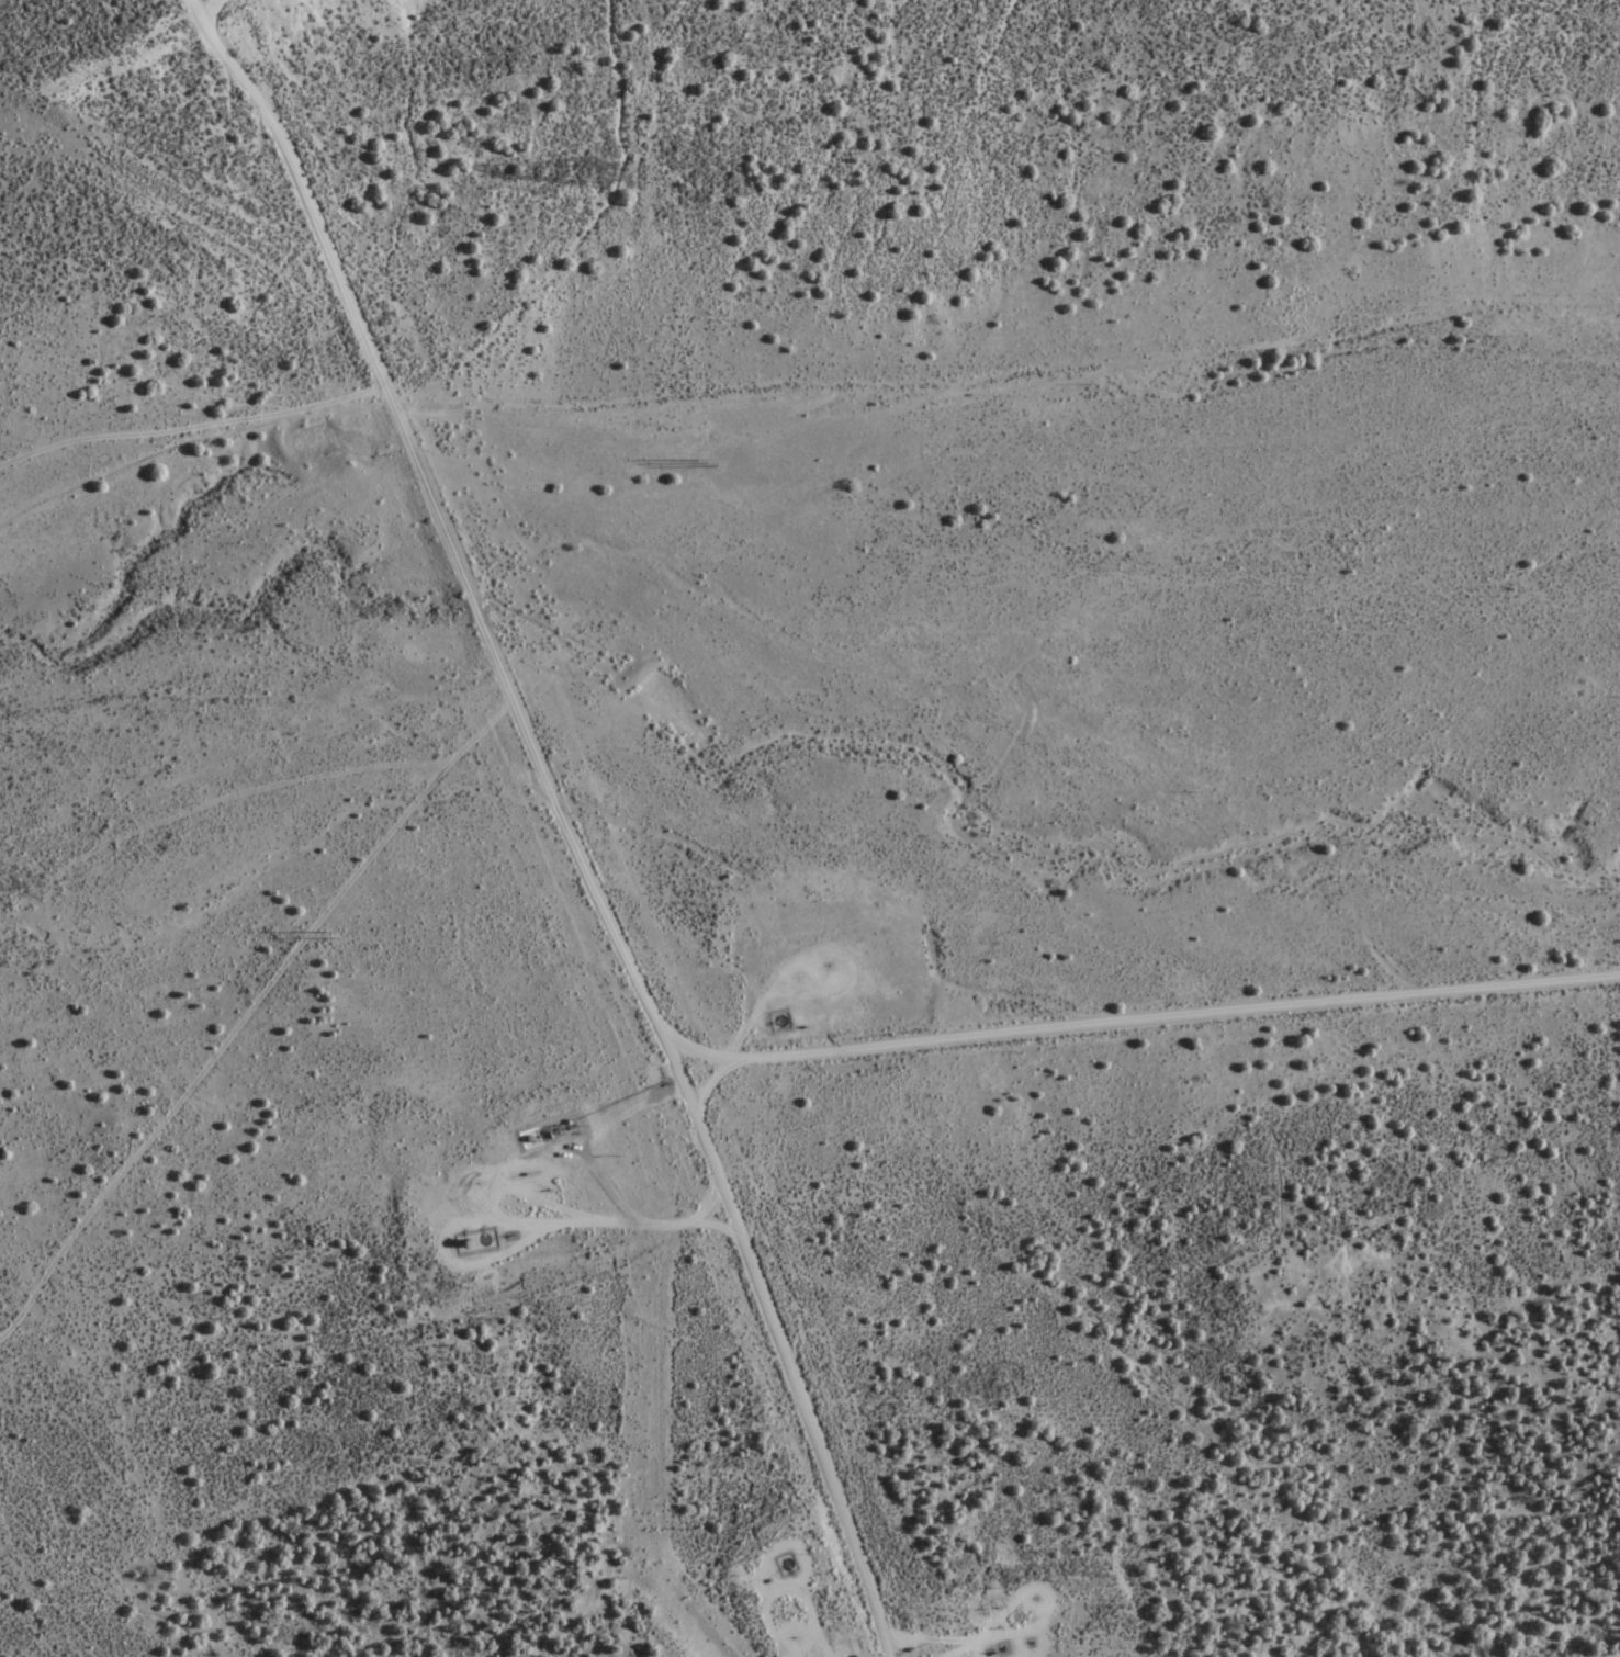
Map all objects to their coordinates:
power tower: (599, 170)
power tower: (5, 880)
road: (600, 994)
road: (761, 1378)

